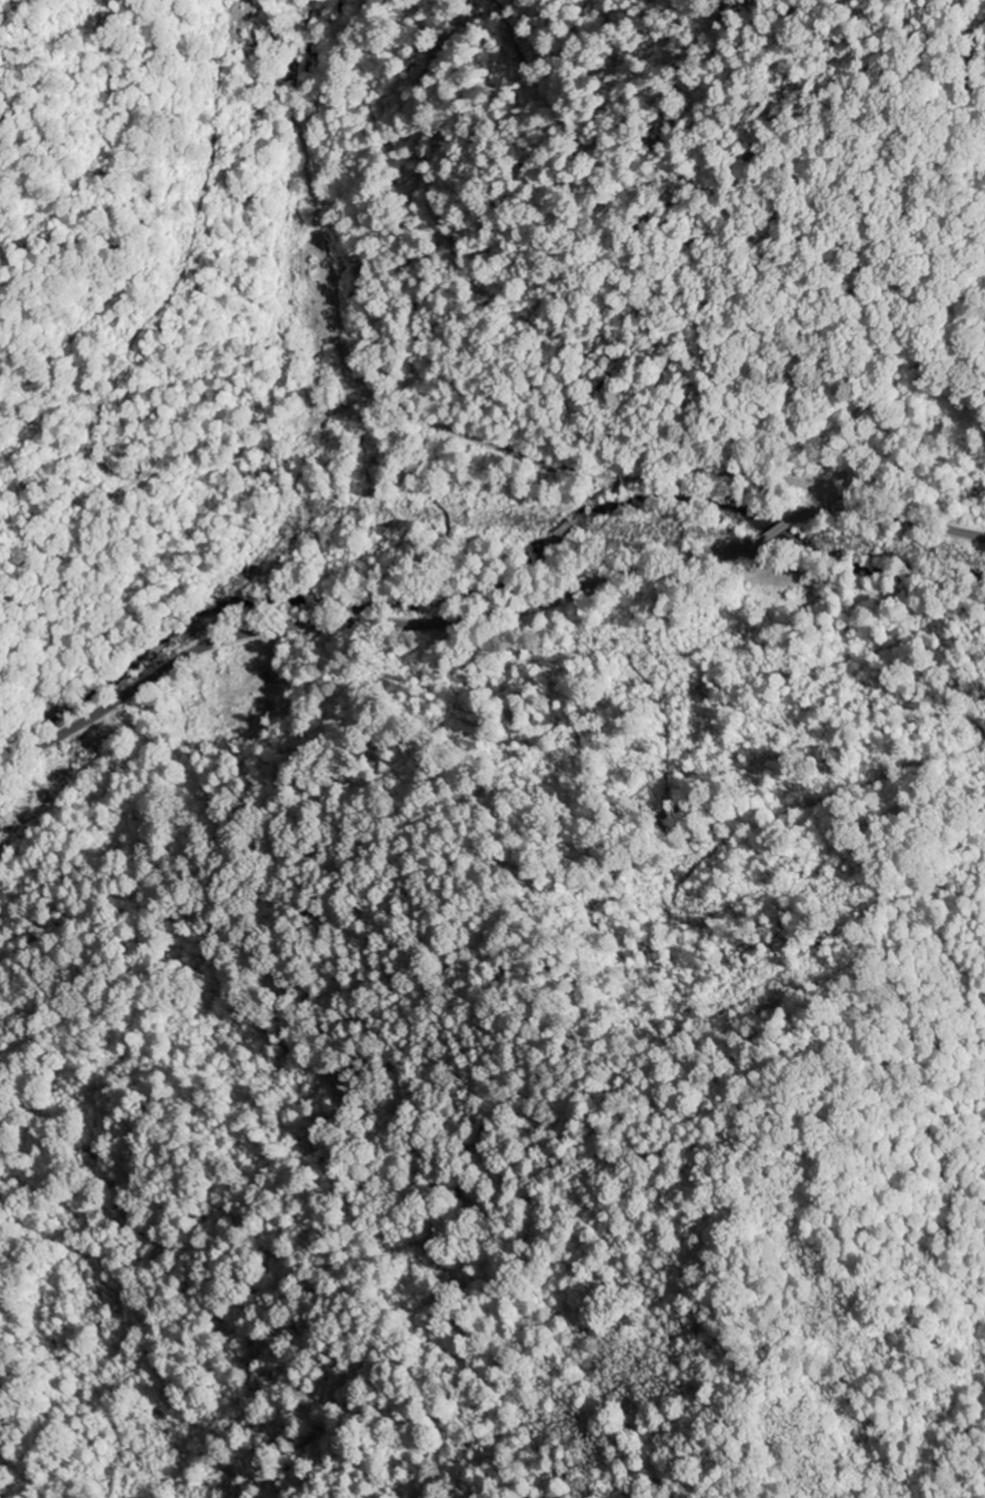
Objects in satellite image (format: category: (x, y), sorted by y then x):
road: (482, 607)
road: (47, 1402)

